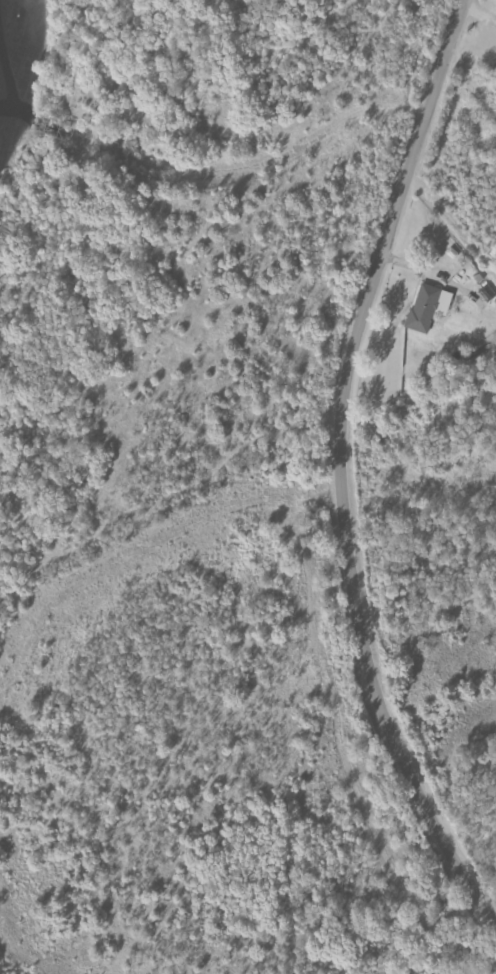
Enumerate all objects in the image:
building: (425, 309)
road: (341, 470)
road: (350, 911)

